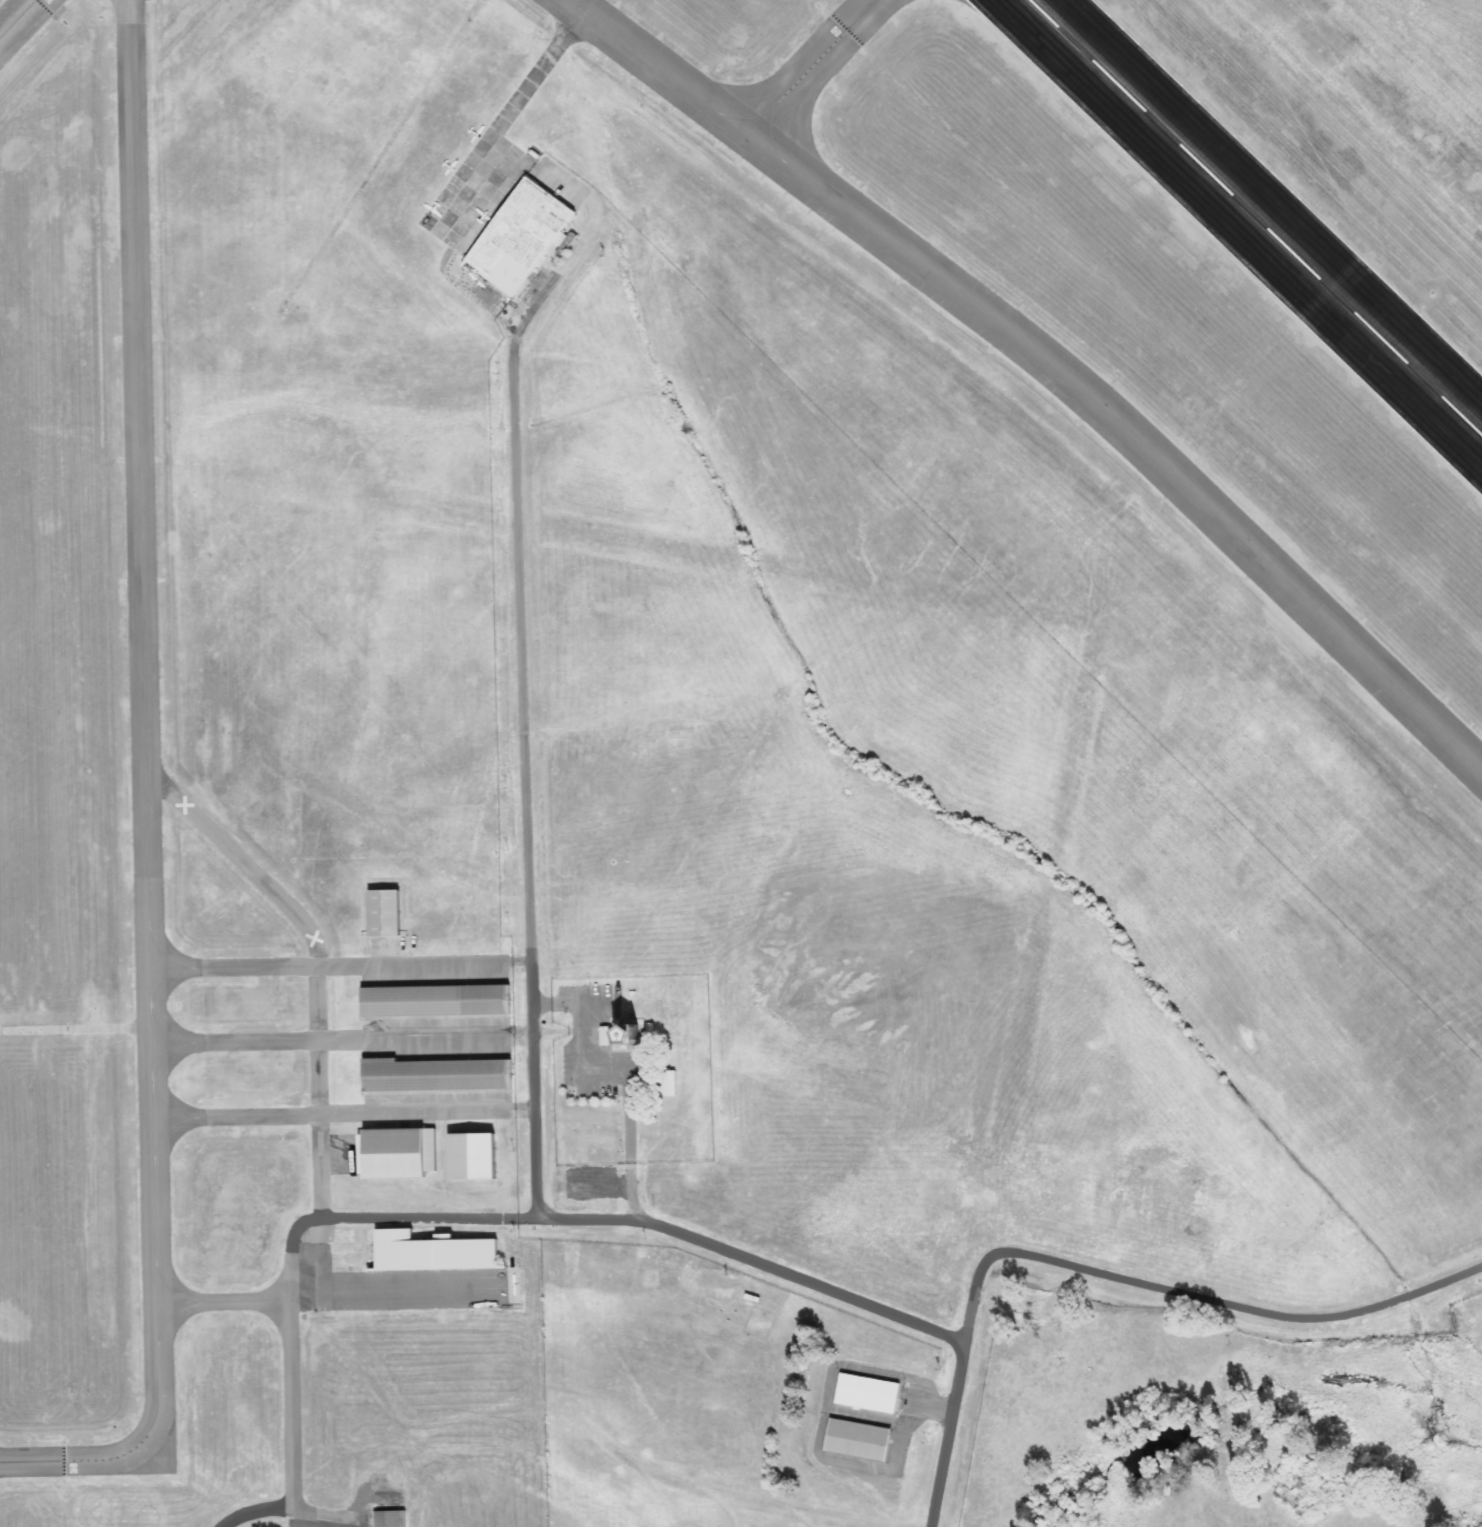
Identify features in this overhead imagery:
airport taxiway: (17, 18)
airport taxiway: (813, 67)
airport taxiway: (539, 71)
airport apron: (477, 193)
airport runway: (1252, 219)
airport hangar: (523, 237)
building: (523, 237)
building: (567, 245)
road: (571, 256)
airport taxiway: (1046, 360)
airport: (715, 728)
road: (526, 790)
airport taxiway: (147, 797)
building: (382, 912)
road: (518, 964)
airport taxiway: (327, 966)
airport hangar: (436, 1000)
building: (436, 1000)
road: (560, 1033)
building: (629, 1035)
road: (520, 1039)
airport taxiway: (330, 1041)
parking lot: (580, 1043)
road: (625, 1074)
airport hangar: (435, 1075)
building: (435, 1075)
building: (669, 1083)
airport taxiway: (319, 1093)
road: (522, 1109)
airport taxiway: (331, 1114)
airport hangar: (393, 1152)
building: (393, 1152)
airport apron: (346, 1154)
building: (469, 1156)
road: (429, 1220)
airport taxiway: (290, 1250)
airport hangar: (431, 1251)
building: (431, 1251)
road: (755, 1261)
airport apron: (395, 1286)
road: (1195, 1298)
airport taxiway: (223, 1302)
building: (866, 1393)
airport taxiway: (291, 1405)
road: (949, 1434)
building: (857, 1440)
airport hangar: (390, 1519)
building: (390, 1519)

